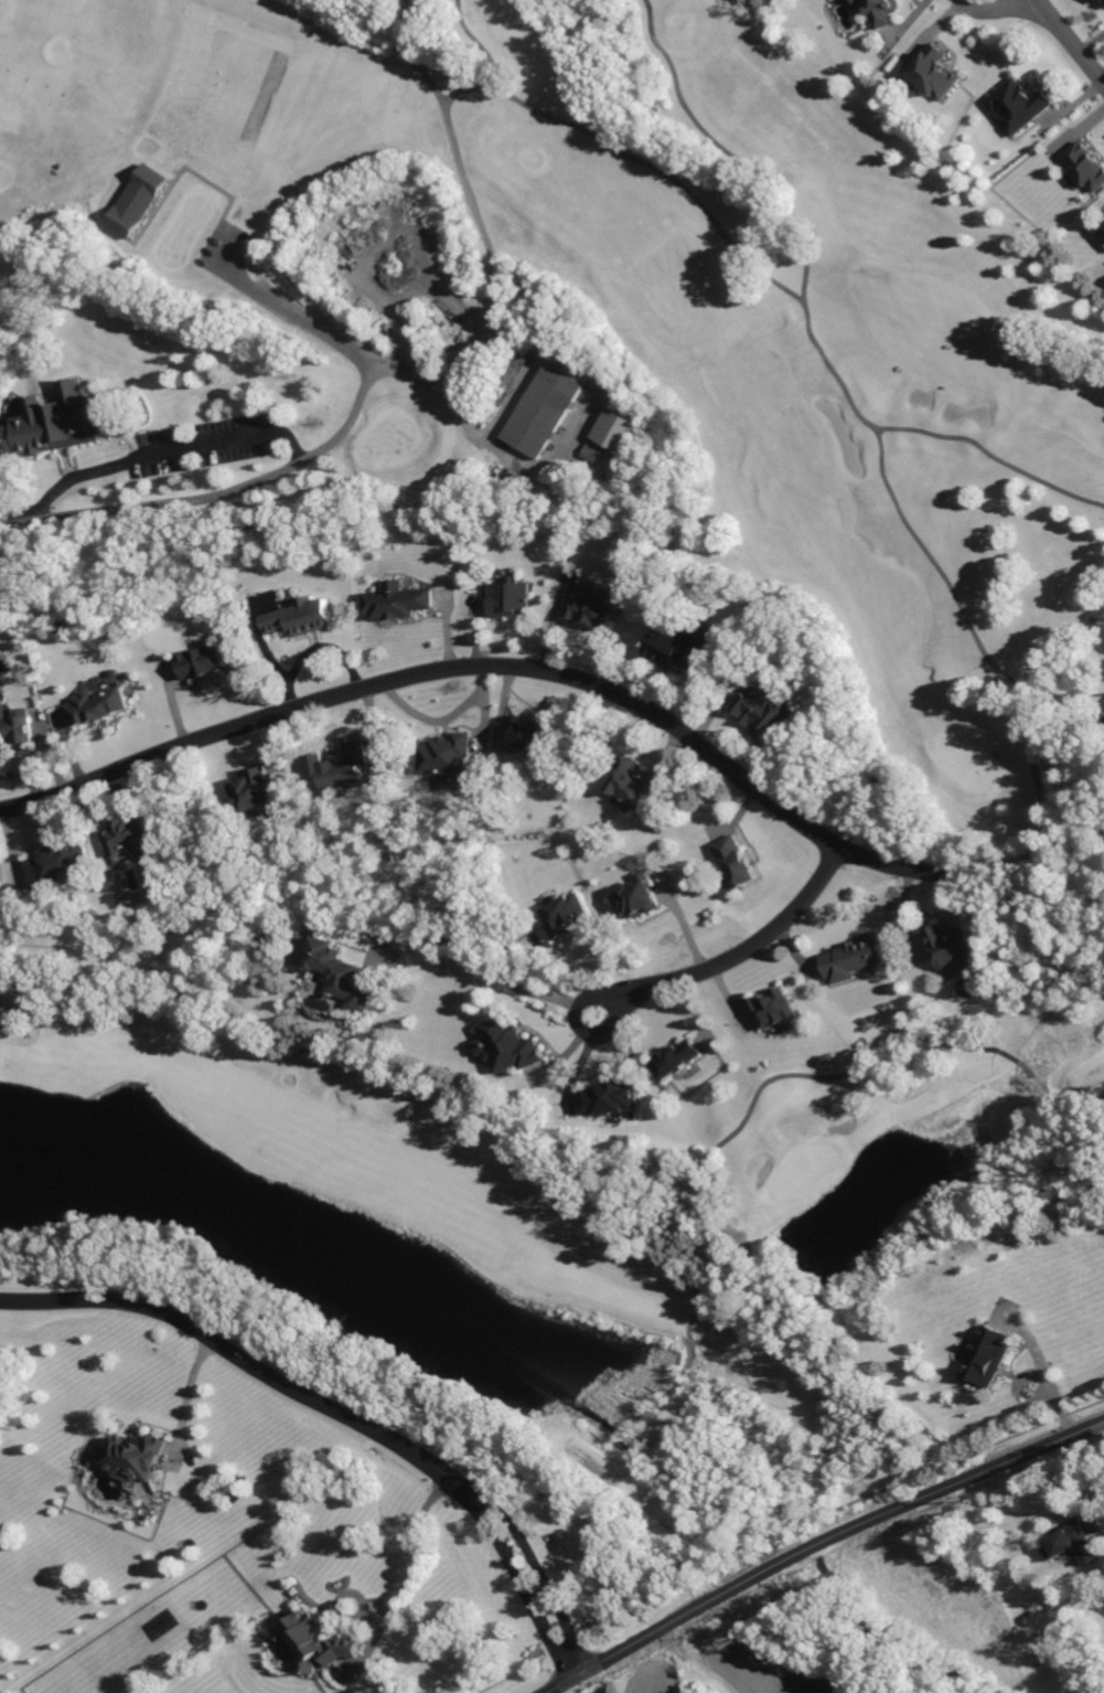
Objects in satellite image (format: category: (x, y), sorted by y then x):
building: (1102, 2)
road: (989, 11)
building: (880, 12)
road: (474, 43)
road: (1065, 45)
building: (932, 78)
building: (1015, 105)
road: (729, 155)
building: (1083, 166)
road: (468, 198)
building: (137, 199)
building: (1103, 228)
road: (782, 288)
road: (288, 317)
park: (800, 330)
building: (540, 409)
building: (61, 419)
building: (615, 428)
road: (161, 454)
road: (269, 476)
building: (395, 596)
building: (507, 596)
building: (589, 609)
building: (300, 617)
building: (680, 647)
road: (980, 649)
building: (200, 661)
road: (486, 668)
building: (96, 706)
building: (759, 707)
building: (14, 728)
building: (534, 739)
building: (446, 755)
building: (337, 766)
building: (629, 781)
building: (251, 790)
building: (122, 834)
road: (1071, 859)
building: (54, 862)
building: (732, 862)
building: (635, 898)
building: (562, 914)
building: (951, 946)
road: (737, 957)
building: (850, 958)
road: (487, 965)
building: (335, 972)
building: (771, 1009)
building: (503, 1044)
building: (677, 1057)
road: (382, 1069)
road: (758, 1093)
building: (605, 1096)
park: (534, 1195)
building: (985, 1359)
road: (251, 1370)
road: (1044, 1372)
road: (182, 1397)
road: (646, 1444)
building: (133, 1458)
road: (818, 1544)
building: (1069, 1544)
road: (408, 1559)
road: (544, 1580)
road: (524, 1594)
building: (313, 1643)

